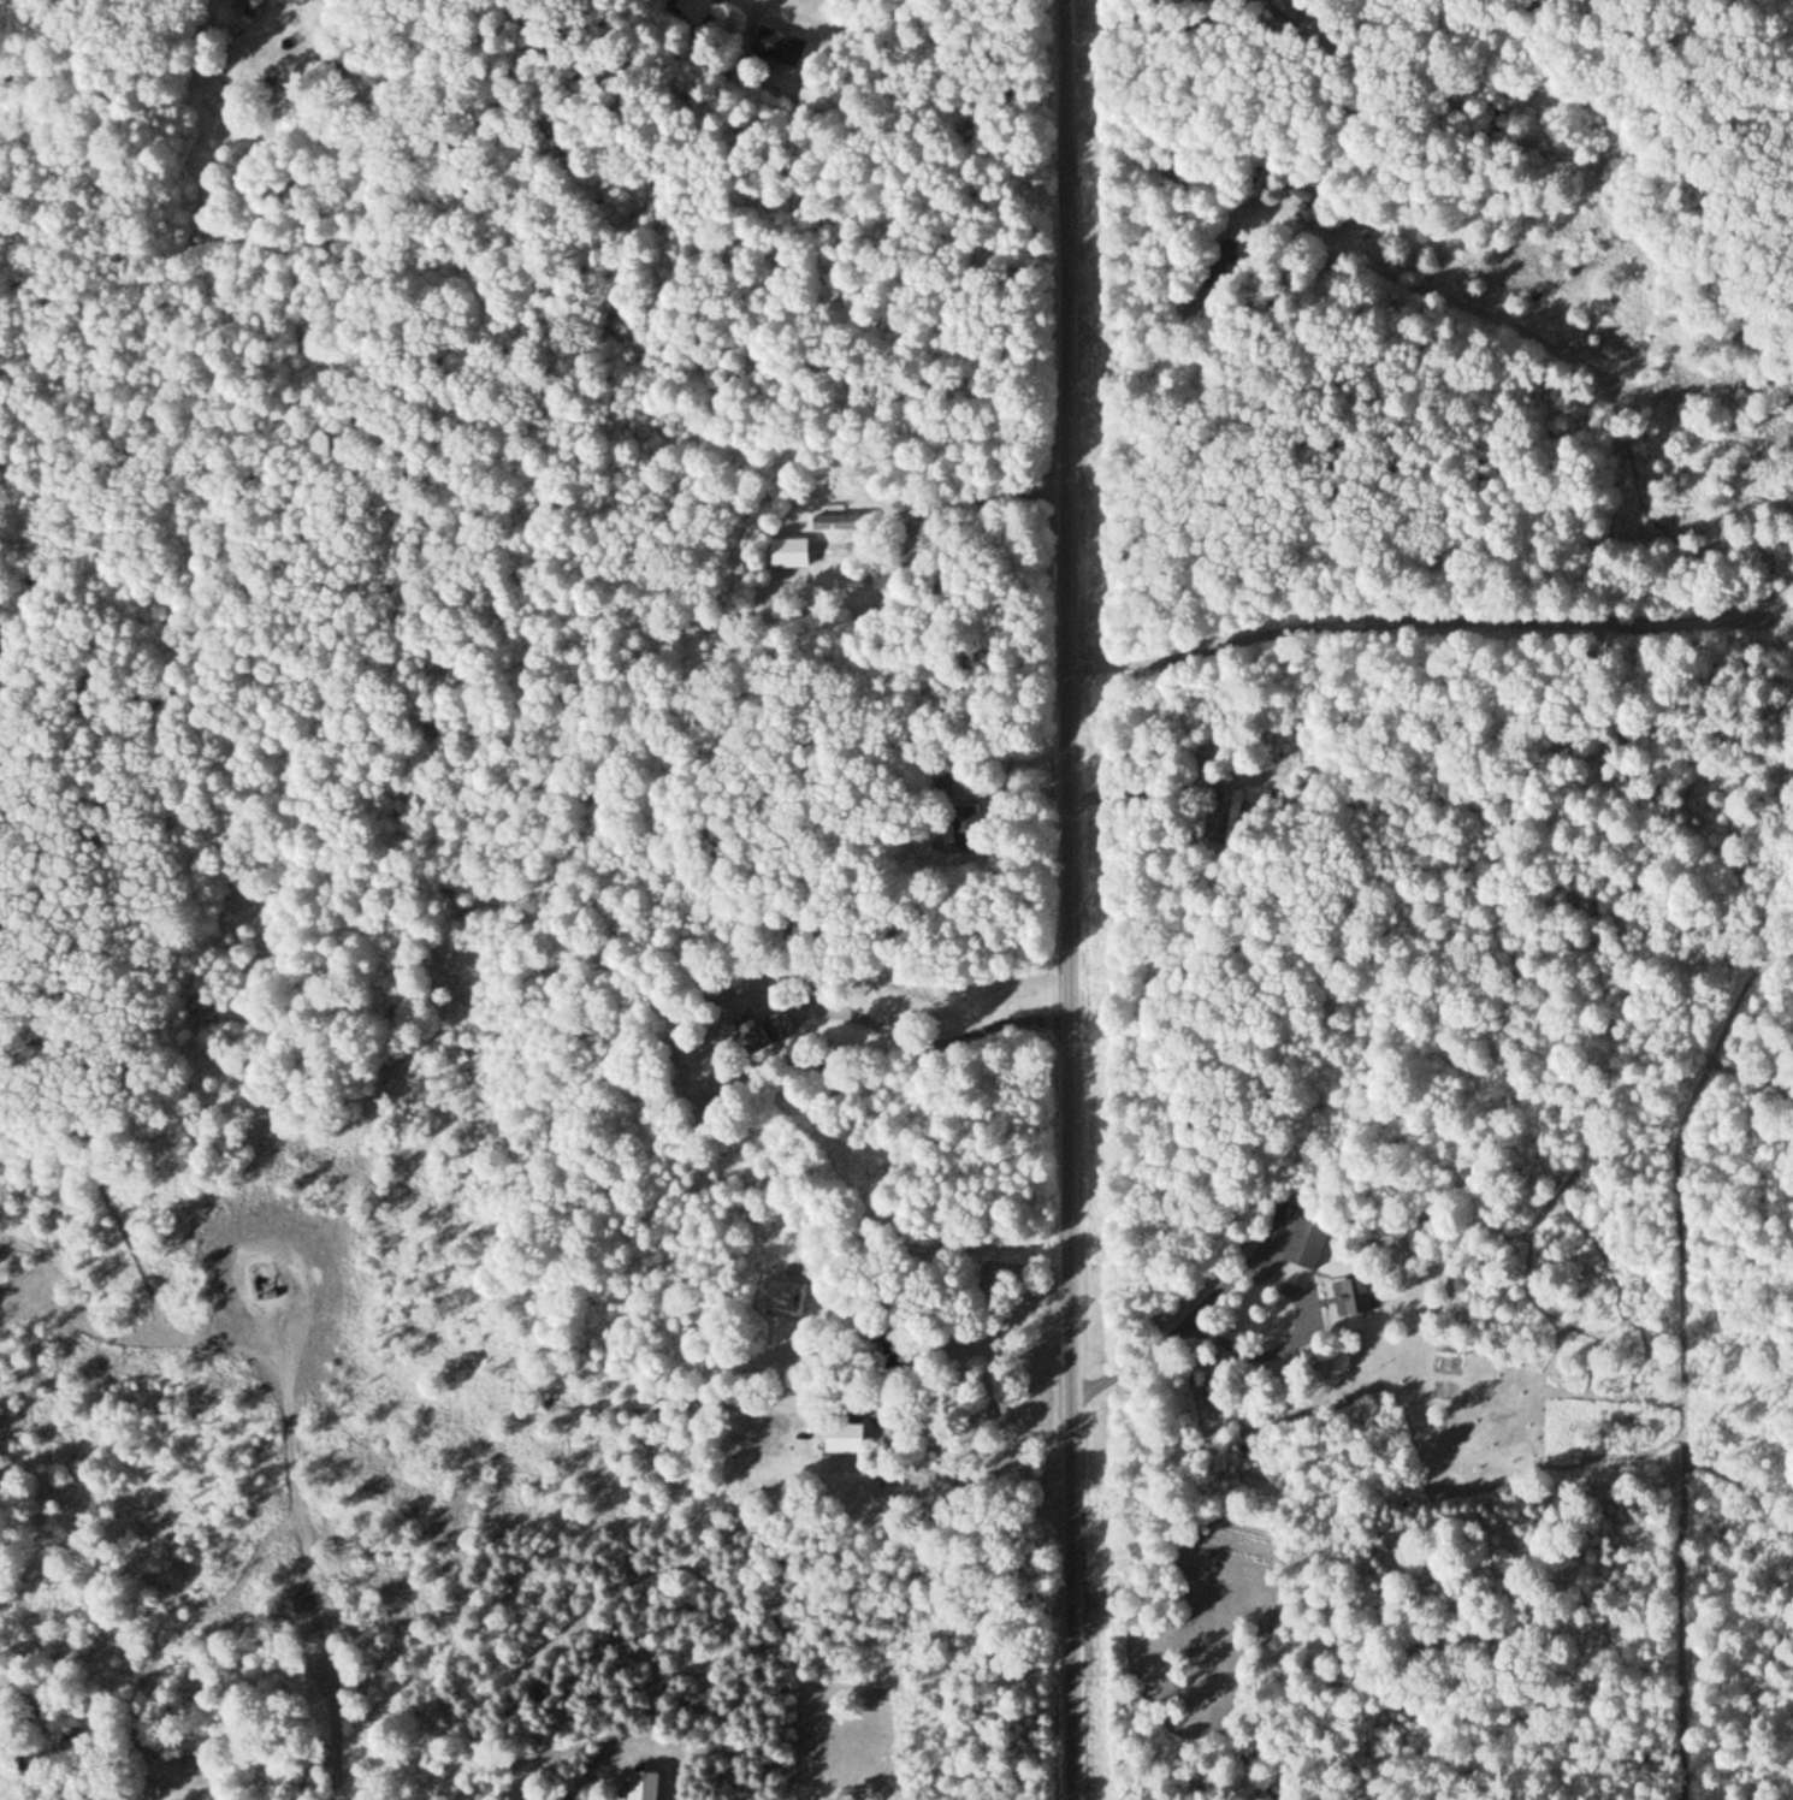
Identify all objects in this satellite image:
building: (261, 5)
building: (696, 11)
building: (776, 46)
building: (782, 552)
road: (1433, 620)
building: (933, 788)
road: (1073, 900)
building: (788, 1026)
road: (933, 1048)
building: (1302, 1244)
building: (1351, 1296)
building: (856, 1438)
road: (948, 1446)

